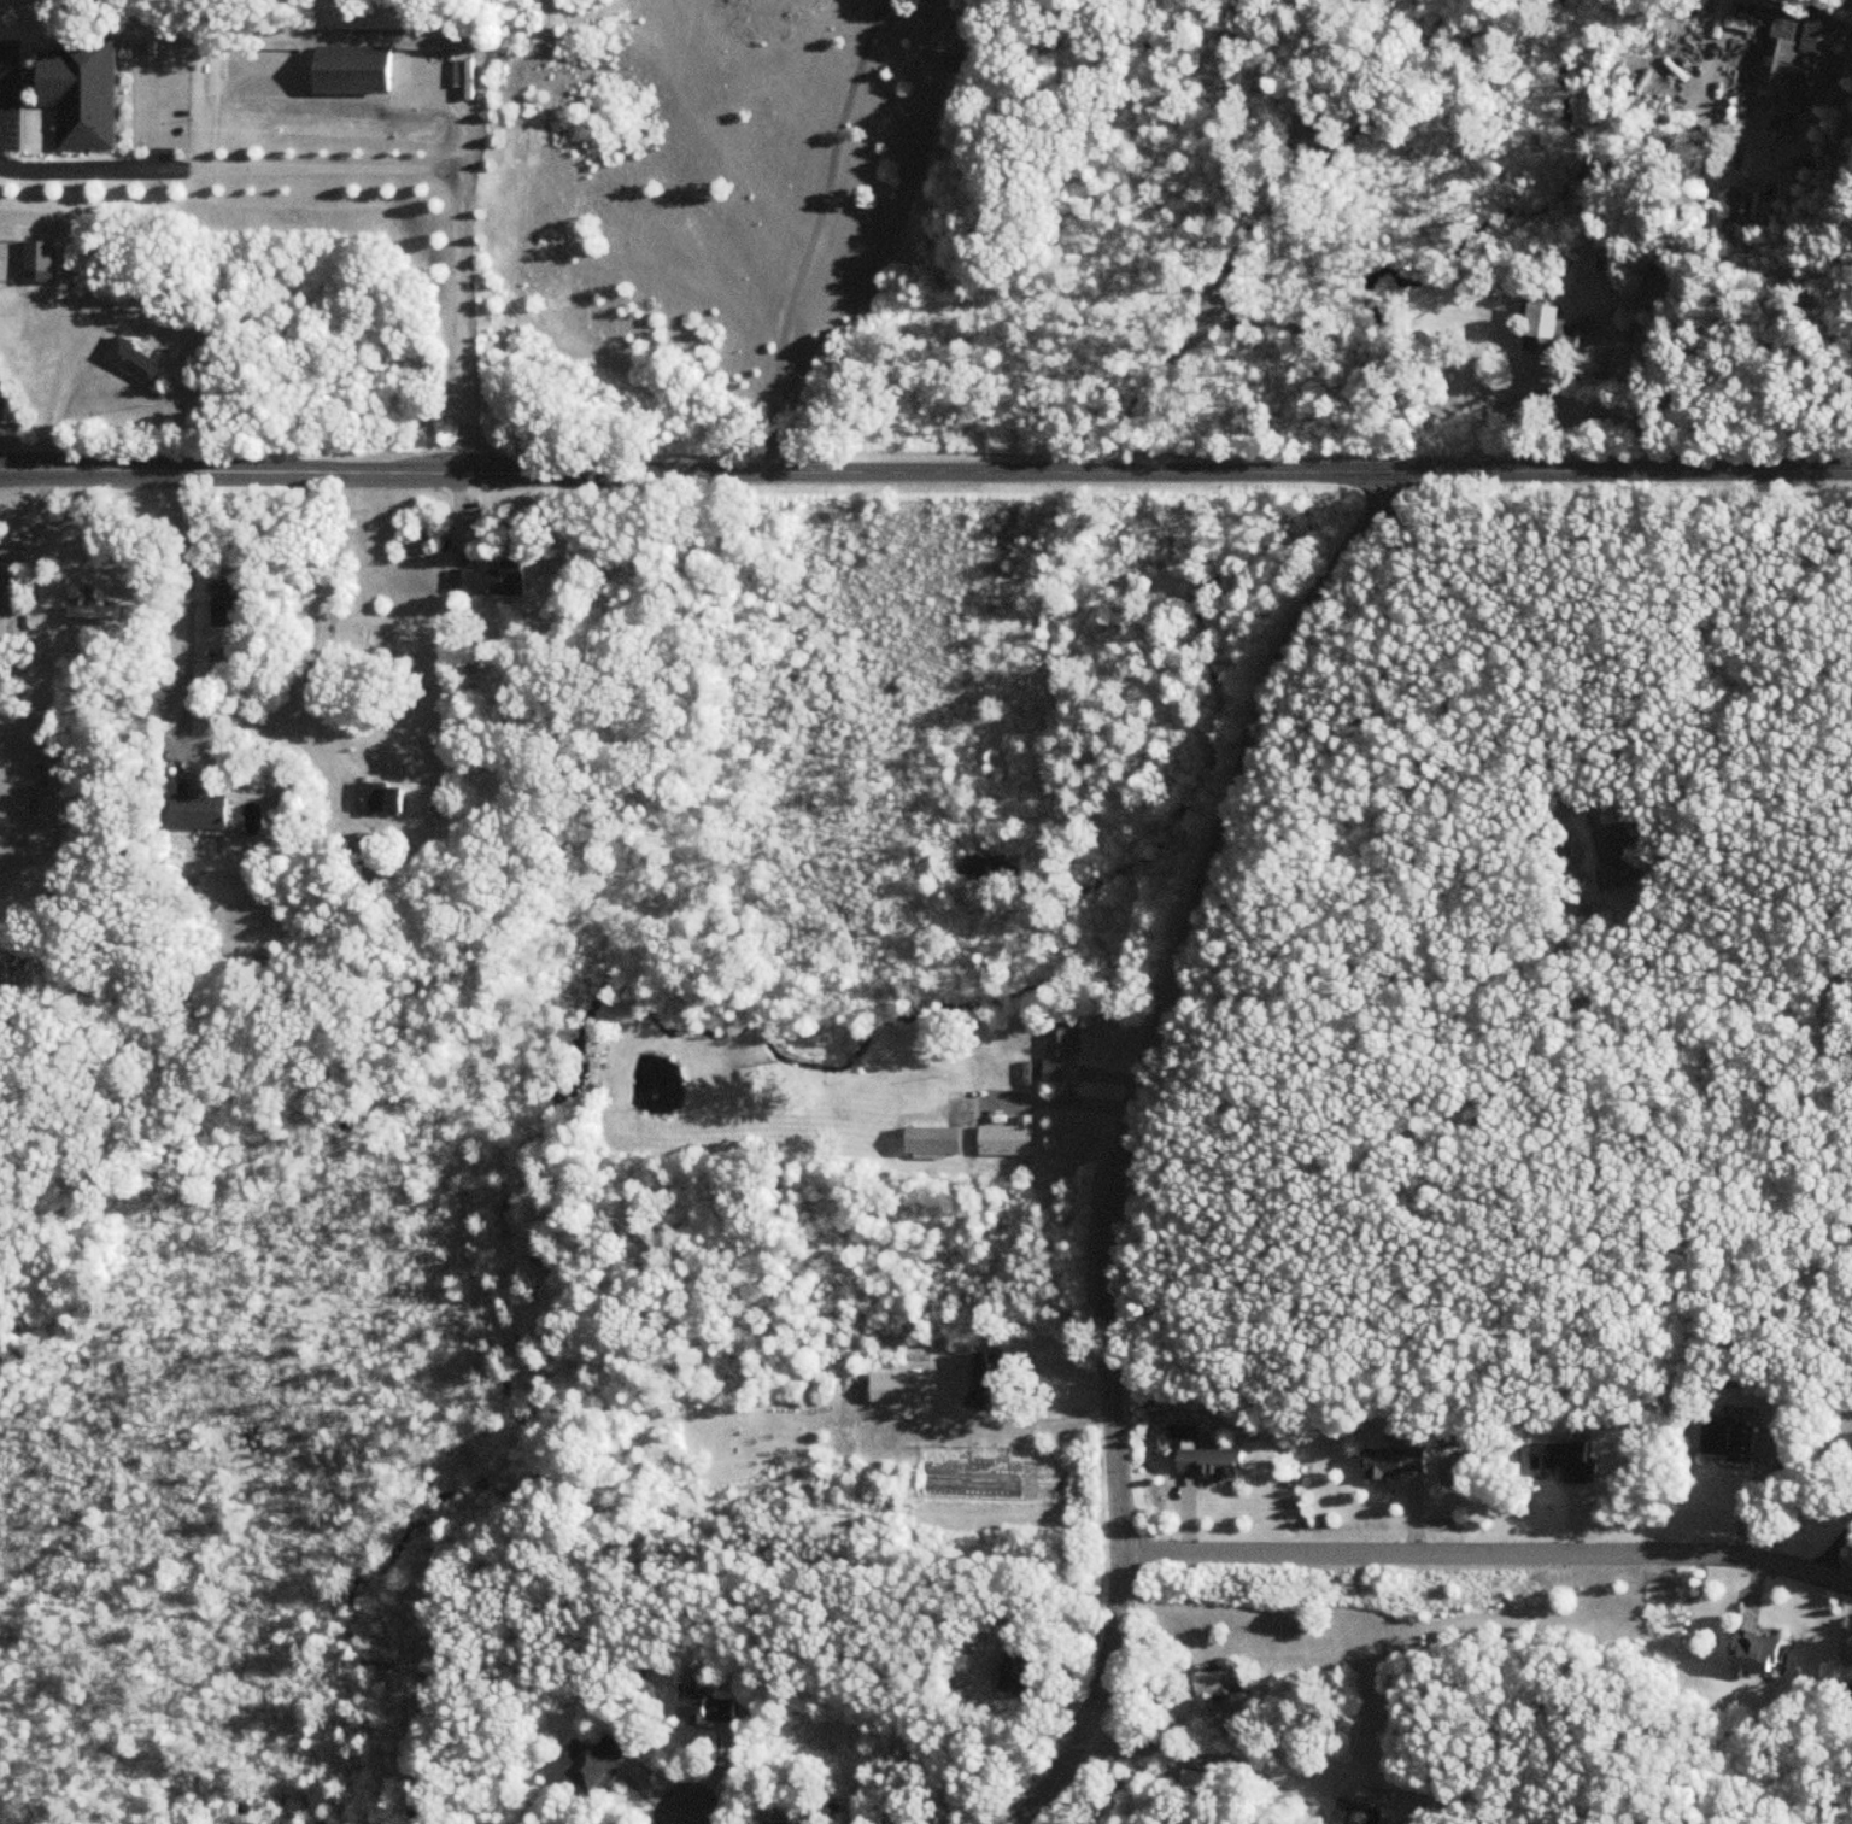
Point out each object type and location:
road: (37, 49)
building: (1792, 60)
building: (353, 70)
building: (88, 88)
road: (17, 95)
road: (153, 99)
road: (39, 107)
road: (382, 160)
building: (1733, 213)
road: (805, 231)
building: (40, 263)
building: (1545, 329)
road: (1382, 359)
building: (137, 363)
road: (926, 473)
building: (492, 581)
building: (229, 605)
building: (92, 612)
road: (323, 617)
road: (182, 622)
building: (1566, 797)
building: (381, 799)
building: (201, 814)
building: (1612, 858)
road: (1388, 981)
building: (1065, 1038)
building: (1054, 1073)
road: (1091, 1074)
road: (1059, 1099)
road: (1126, 1133)
building: (1009, 1139)
building: (938, 1142)
building: (995, 1382)
building: (897, 1390)
road: (997, 1426)
building: (1731, 1442)
building: (1396, 1464)
building: (1211, 1466)
road: (1488, 1555)
building: (1758, 1652)
building: (1022, 1671)
building: (1219, 1684)
building: (709, 1709)
road: (1178, 1752)
building: (600, 1764)
building: (1355, 1813)
road: (682, 1820)

